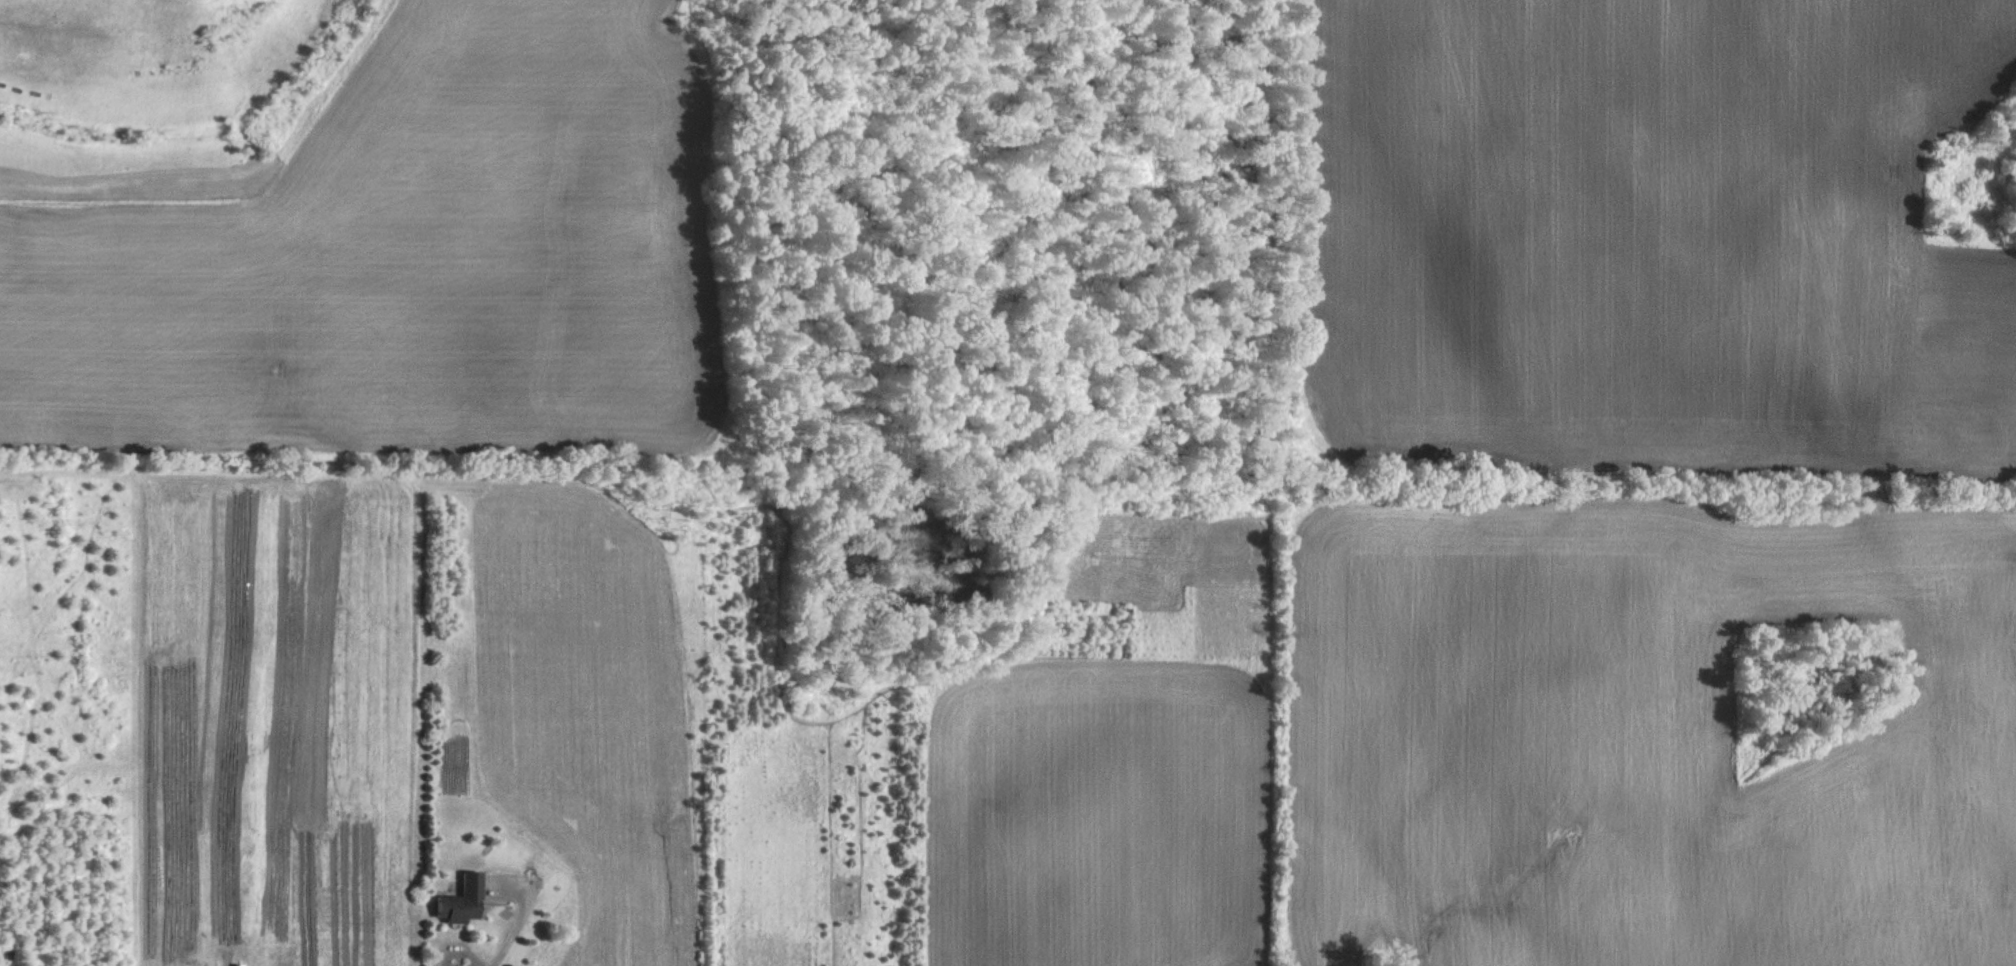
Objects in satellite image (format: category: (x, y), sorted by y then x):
building: (456, 899)
road: (511, 923)

